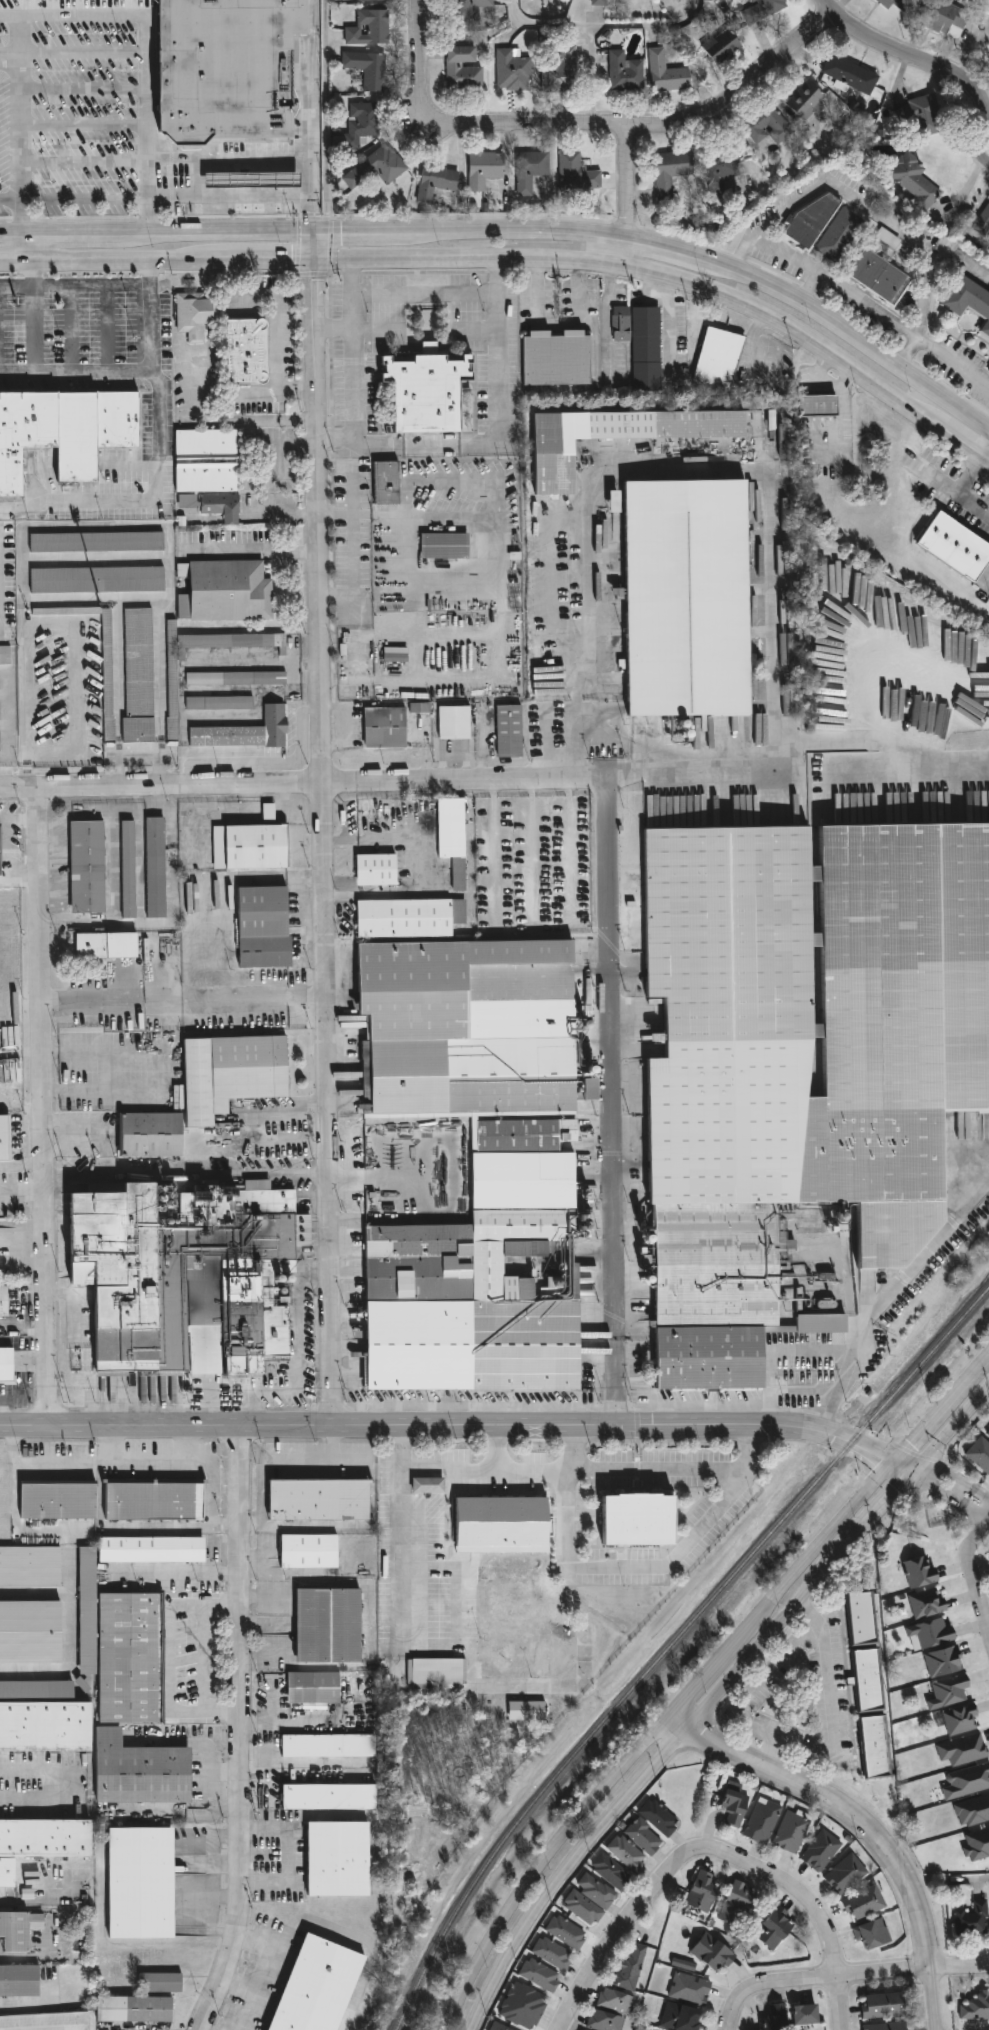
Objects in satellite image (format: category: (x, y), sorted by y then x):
building: (363, 0)
building: (599, 2)
building: (891, 3)
building: (762, 9)
building: (464, 11)
building: (939, 17)
building: (368, 28)
road: (612, 34)
building: (722, 46)
road: (12, 49)
road: (151, 52)
building: (988, 52)
road: (905, 61)
road: (12, 65)
building: (228, 66)
building: (367, 68)
building: (463, 68)
building: (558, 69)
building: (512, 70)
building: (623, 72)
building: (667, 73)
building: (846, 73)
building: (802, 101)
building: (922, 115)
road: (312, 117)
road: (327, 117)
building: (362, 122)
building: (764, 125)
road: (589, 126)
road: (87, 129)
road: (24, 138)
road: (986, 149)
building: (715, 163)
building: (376, 167)
building: (485, 167)
building: (529, 170)
building: (668, 172)
building: (575, 173)
building: (251, 177)
gas station: (251, 177)
building: (436, 181)
building: (915, 181)
road: (230, 193)
road: (630, 195)
road: (12, 198)
road: (874, 214)
building: (812, 220)
building: (983, 222)
road: (517, 233)
building: (838, 233)
road: (359, 234)
traffic signals: (315, 235)
road: (214, 236)
building: (888, 237)
road: (69, 240)
road: (12, 241)
road: (663, 247)
road: (578, 259)
road: (962, 259)
road: (12, 262)
road: (420, 262)
road: (115, 263)
road: (260, 265)
traffic signals: (316, 267)
building: (876, 276)
road: (837, 283)
road: (661, 284)
road: (89, 286)
road: (26, 287)
road: (811, 290)
road: (424, 293)
building: (968, 300)
building: (198, 315)
road: (785, 323)
building: (620, 324)
road: (277, 325)
road: (560, 325)
road: (27, 329)
road: (847, 335)
road: (672, 341)
building: (645, 350)
building: (250, 352)
building: (555, 358)
building: (717, 358)
road: (954, 359)
road: (129, 370)
building: (988, 372)
building: (988, 373)
building: (423, 389)
building: (250, 401)
building: (816, 405)
road: (221, 418)
building: (65, 424)
building: (612, 437)
road: (955, 438)
road: (429, 446)
road: (987, 457)
building: (209, 461)
road: (987, 461)
road: (285, 462)
building: (385, 483)
road: (355, 489)
road: (962, 490)
building: (190, 501)
road: (143, 502)
building: (224, 507)
road: (284, 511)
building: (98, 542)
building: (955, 544)
building: (443, 546)
road: (356, 550)
road: (255, 553)
building: (99, 580)
building: (228, 592)
building: (682, 598)
building: (5, 654)
building: (394, 655)
building: (140, 675)
building: (108, 677)
building: (238, 679)
building: (174, 701)
building: (221, 703)
building: (420, 707)
building: (0, 712)
building: (453, 723)
building: (383, 728)
building: (248, 732)
building: (507, 732)
building: (0, 743)
road: (879, 744)
road: (397, 784)
building: (269, 811)
road: (4, 818)
road: (23, 818)
road: (327, 831)
building: (455, 837)
building: (252, 847)
road: (8, 849)
building: (0, 853)
building: (89, 867)
building: (158, 868)
building: (379, 869)
building: (130, 870)
road: (20, 880)
building: (411, 917)
building: (267, 927)
building: (108, 946)
road: (608, 962)
road: (186, 998)
road: (169, 1024)
building: (803, 1060)
road: (176, 1070)
building: (234, 1074)
road: (45, 1109)
road: (90, 1135)
building: (153, 1135)
building: (5, 1138)
building: (479, 1164)
road: (189, 1170)
building: (189, 1274)
road: (887, 1293)
building: (4, 1301)
road: (776, 1350)
road: (298, 1359)
building: (8, 1365)
road: (976, 1372)
road: (929, 1424)
road: (957, 1425)
road: (451, 1427)
building: (987, 1431)
traffic signals: (912, 1444)
road: (114, 1446)
road: (188, 1446)
road: (496, 1449)
building: (980, 1453)
traffic signals: (883, 1456)
road: (911, 1461)
road: (109, 1464)
road: (290, 1466)
road: (905, 1468)
traffic signals: (941, 1470)
road: (660, 1471)
road: (464, 1472)
road: (950, 1475)
building: (430, 1485)
road: (939, 1490)
traffic signals: (898, 1491)
road: (982, 1494)
building: (157, 1499)
building: (322, 1500)
building: (60, 1501)
road: (884, 1505)
road: (977, 1513)
road: (250, 1517)
building: (641, 1521)
building: (502, 1524)
road: (407, 1539)
building: (153, 1550)
building: (311, 1551)
road: (809, 1555)
building: (30, 1567)
road: (631, 1568)
building: (920, 1572)
road: (181, 1574)
road: (972, 1580)
building: (925, 1603)
building: (859, 1618)
building: (331, 1626)
building: (31, 1632)
building: (929, 1634)
road: (766, 1640)
railway: (672, 1643)
building: (122, 1648)
road: (171, 1660)
building: (941, 1661)
building: (438, 1672)
building: (865, 1679)
road: (761, 1683)
road: (700, 1686)
building: (85, 1687)
building: (316, 1688)
building: (38, 1690)
building: (947, 1691)
road: (831, 1719)
building: (959, 1719)
road: (272, 1723)
road: (681, 1724)
building: (47, 1727)
road: (243, 1732)
building: (330, 1746)
building: (870, 1746)
building: (962, 1749)
road: (283, 1762)
building: (143, 1772)
building: (967, 1781)
road: (60, 1782)
building: (331, 1797)
building: (736, 1806)
building: (972, 1810)
building: (660, 1817)
building: (763, 1821)
road: (875, 1831)
building: (792, 1833)
building: (645, 1837)
building: (41, 1843)
building: (977, 1844)
building: (821, 1851)
building: (627, 1853)
road: (294, 1859)
building: (341, 1860)
road: (544, 1862)
road: (226, 1863)
road: (568, 1871)
building: (611, 1872)
building: (847, 1874)
road: (970, 1878)
road: (210, 1880)
building: (143, 1884)
building: (597, 1891)
building: (703, 1892)
road: (8, 1895)
road: (226, 1895)
road: (46, 1897)
building: (736, 1902)
road: (642, 1903)
building: (866, 1903)
building: (583, 1909)
building: (970, 1918)
building: (774, 1929)
building: (16, 1932)
building: (567, 1933)
building: (874, 1935)
road: (831, 1936)
building: (553, 1954)
building: (713, 1954)
building: (631, 1967)
road: (266, 1968)
road: (961, 1969)
building: (540, 1976)
road: (818, 1977)
building: (21, 1981)
building: (162, 1983)
building: (321, 1987)
building: (689, 1989)
building: (614, 2000)
building: (885, 2005)
building: (523, 2006)
building: (974, 2006)
building: (136, 2009)
building: (806, 2015)
building: (774, 2017)
building: (681, 2018)
building: (603, 2021)
building: (46, 2022)
building: (888, 2026)
road: (963, 2026)
building: (500, 2027)
building: (578, 2029)
building: (583, 2029)

